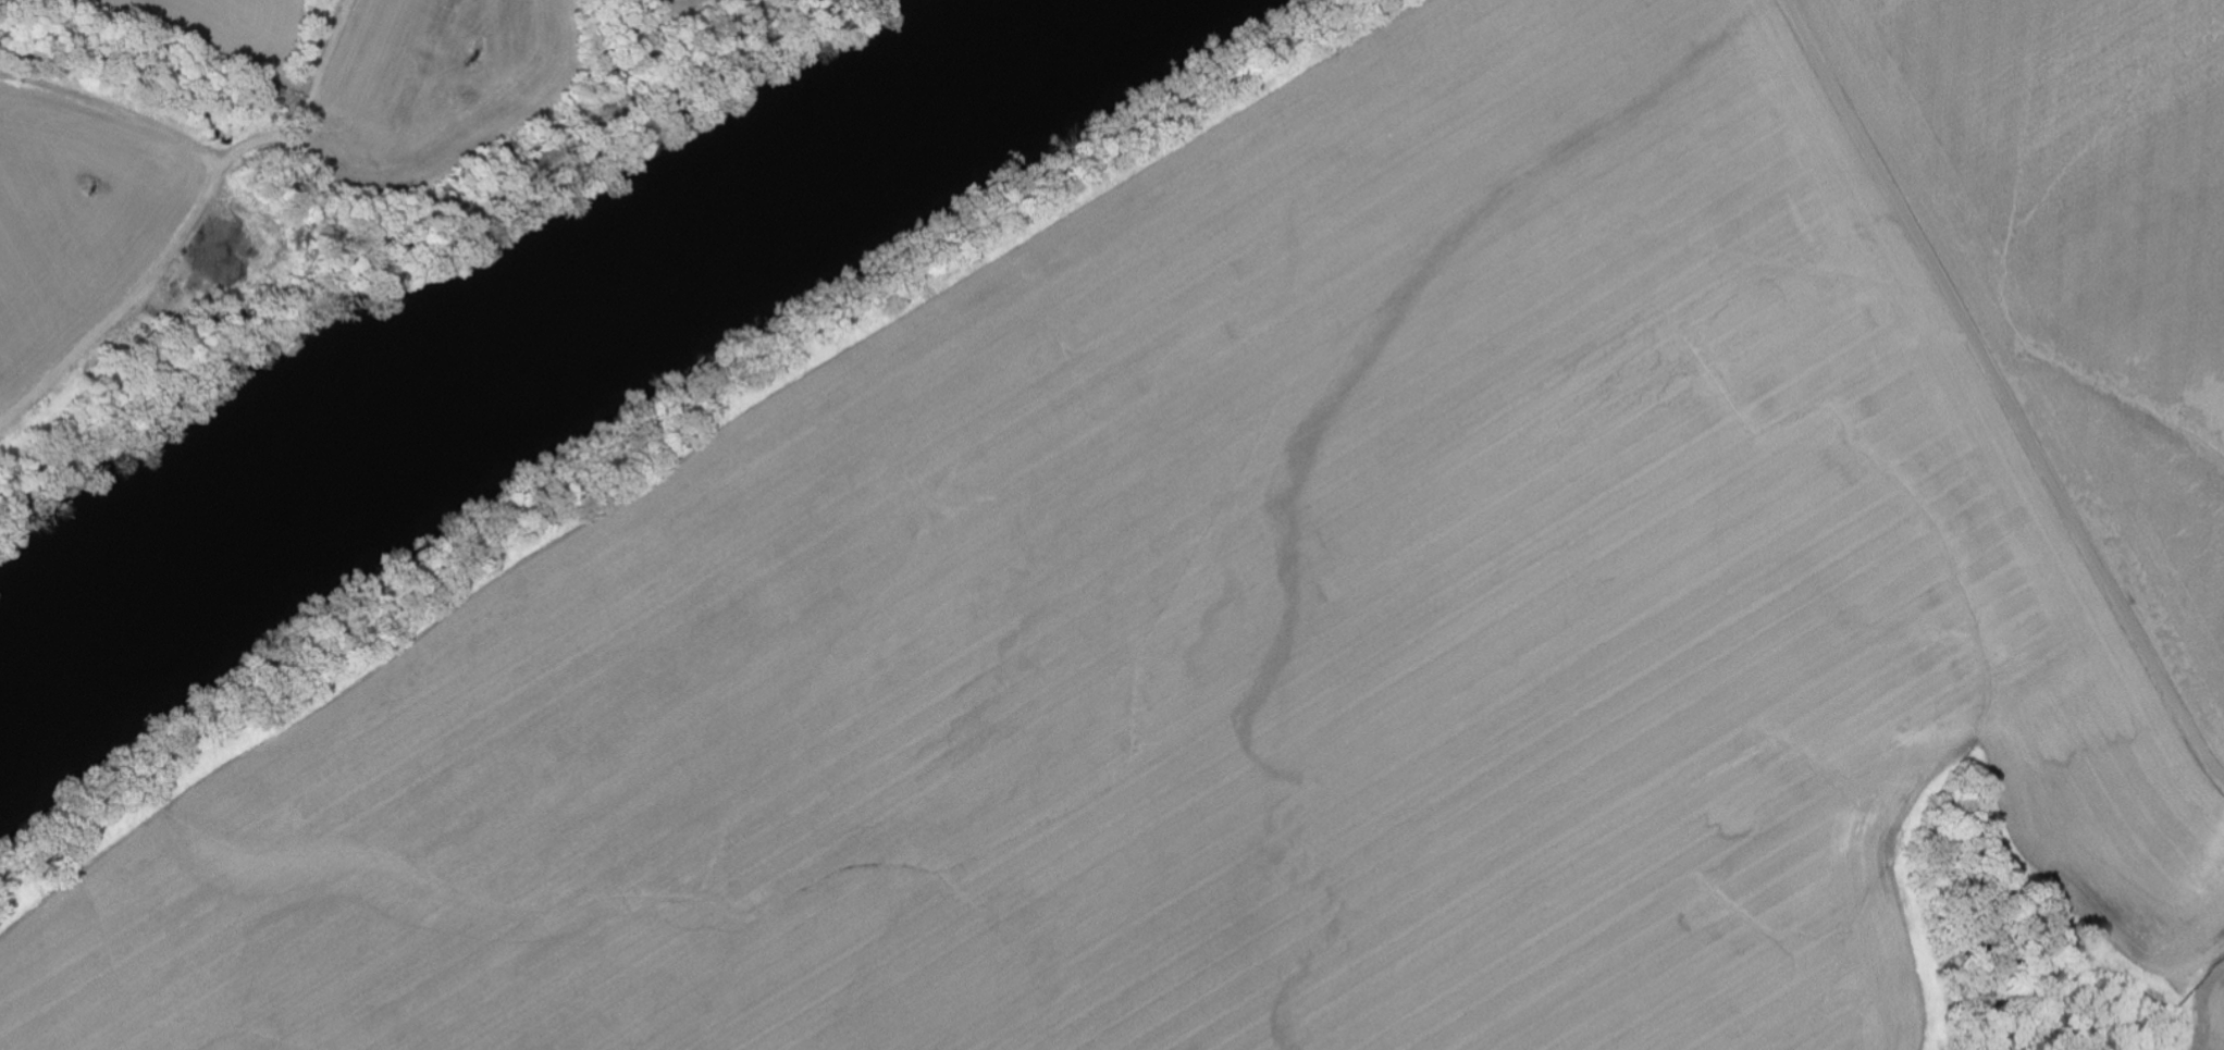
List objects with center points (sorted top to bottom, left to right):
road: (1794, 20)
river: (499, 305)
road: (2012, 409)

